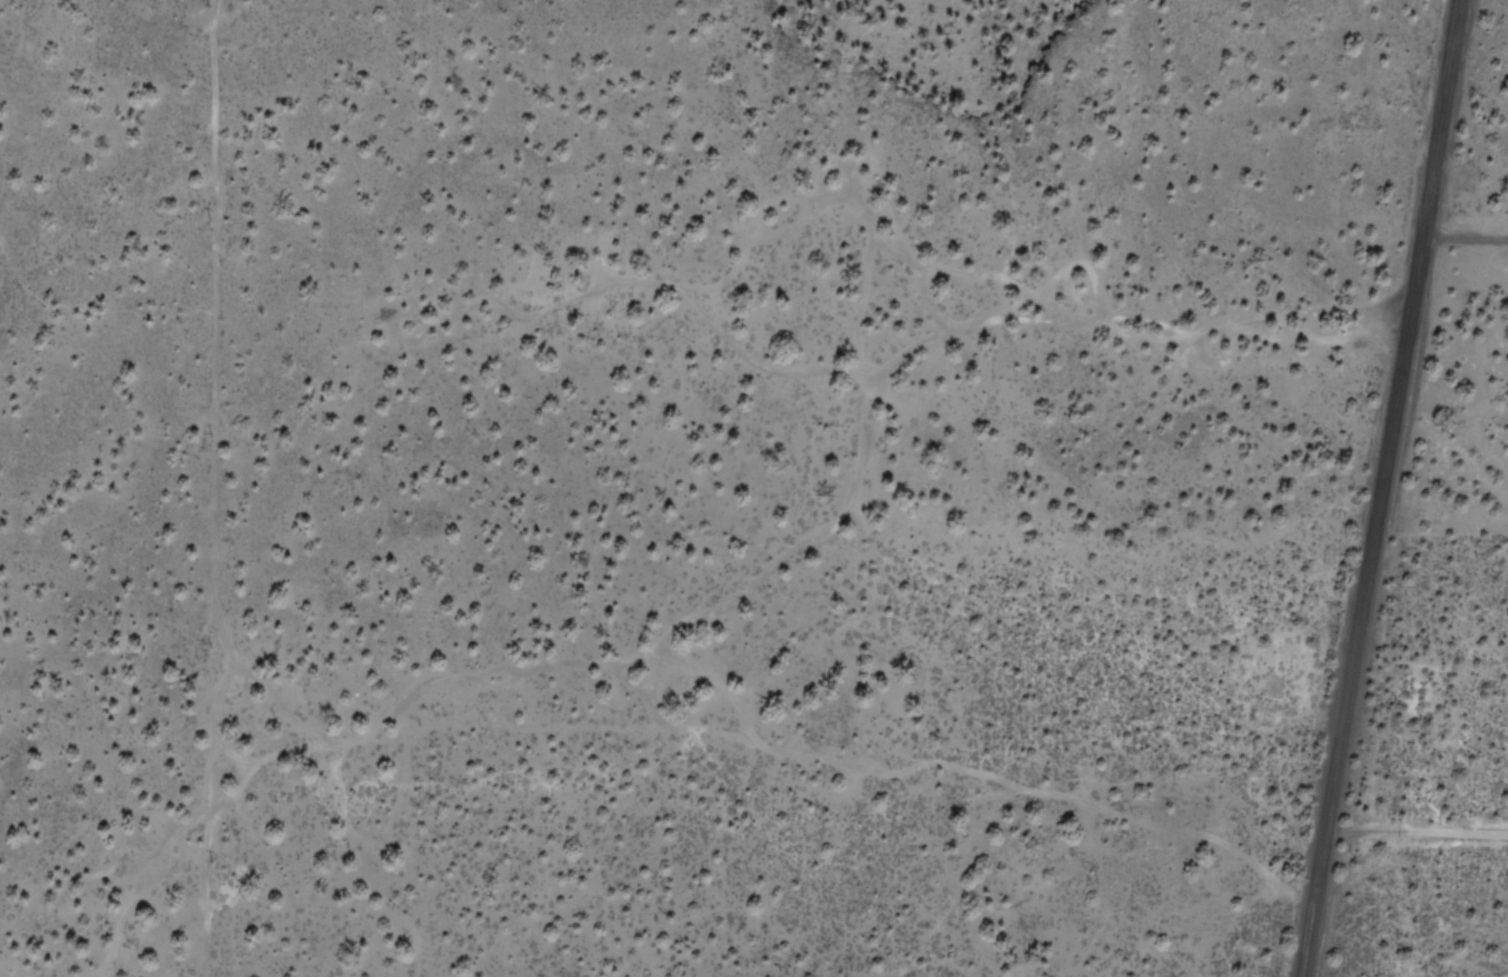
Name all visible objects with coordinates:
road: (1075, 197)
road: (979, 275)
road: (926, 296)
road: (90, 310)
road: (1046, 321)
road: (1154, 337)
road: (873, 368)
road: (1379, 487)
road: (211, 490)
road: (563, 663)
road: (280, 700)
road: (660, 718)
road: (233, 751)
road: (967, 769)
road: (62, 885)

